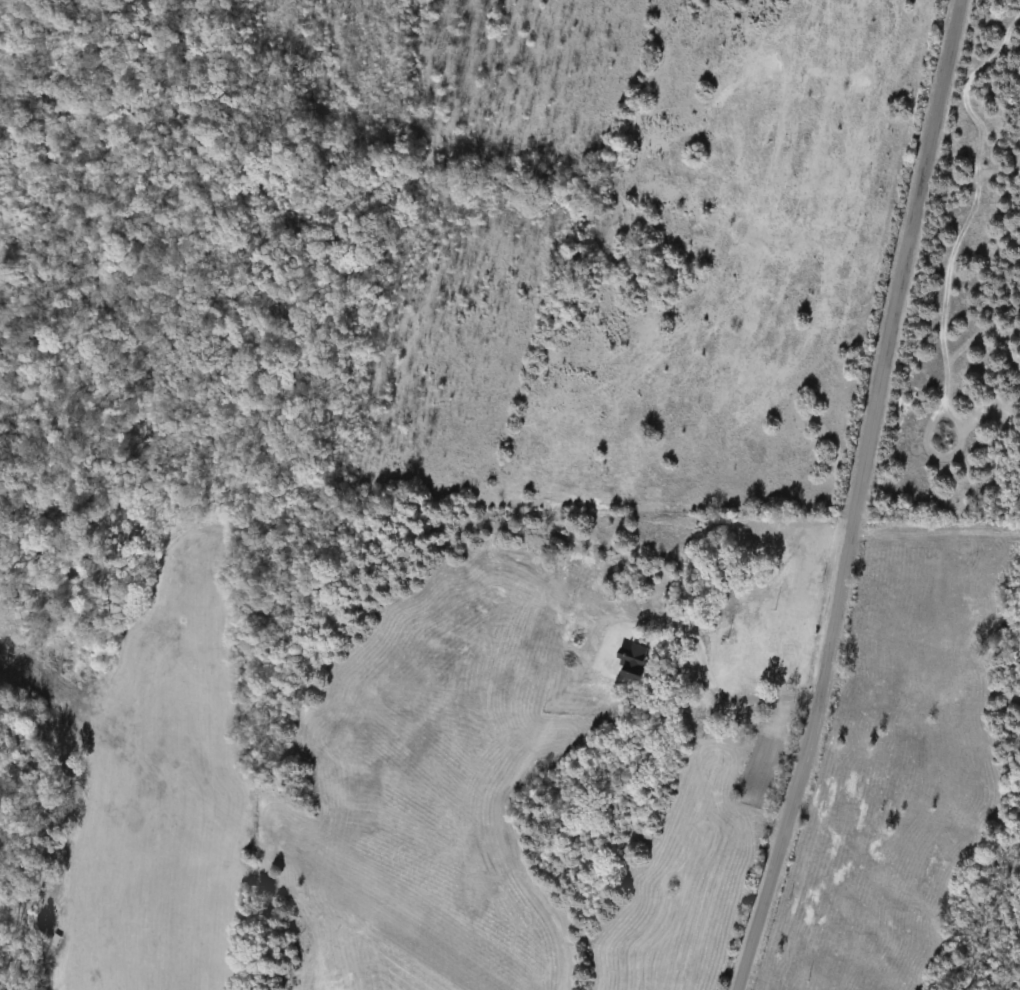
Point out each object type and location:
road: (856, 497)
road: (724, 692)
building: (746, 703)

